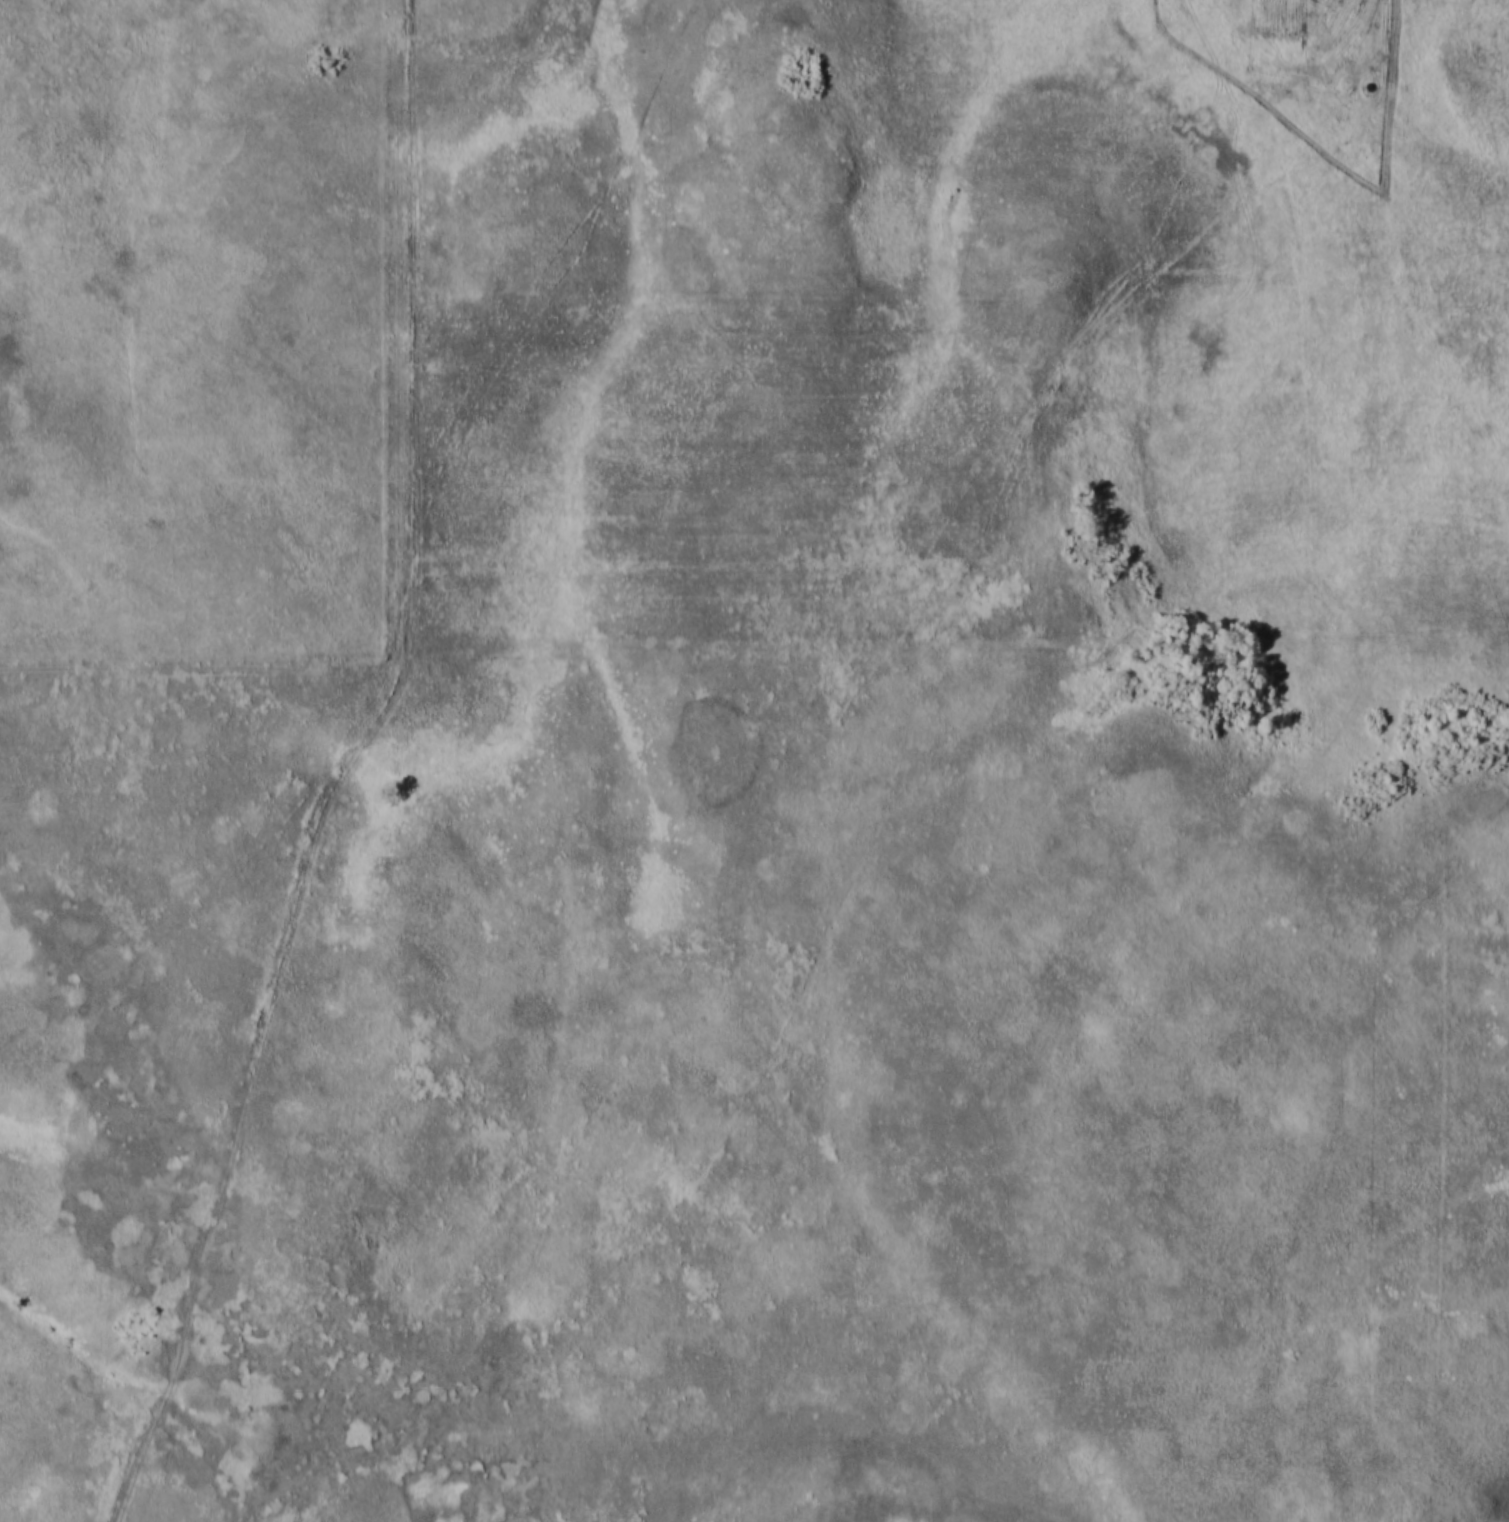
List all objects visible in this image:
road: (1282, 206)

